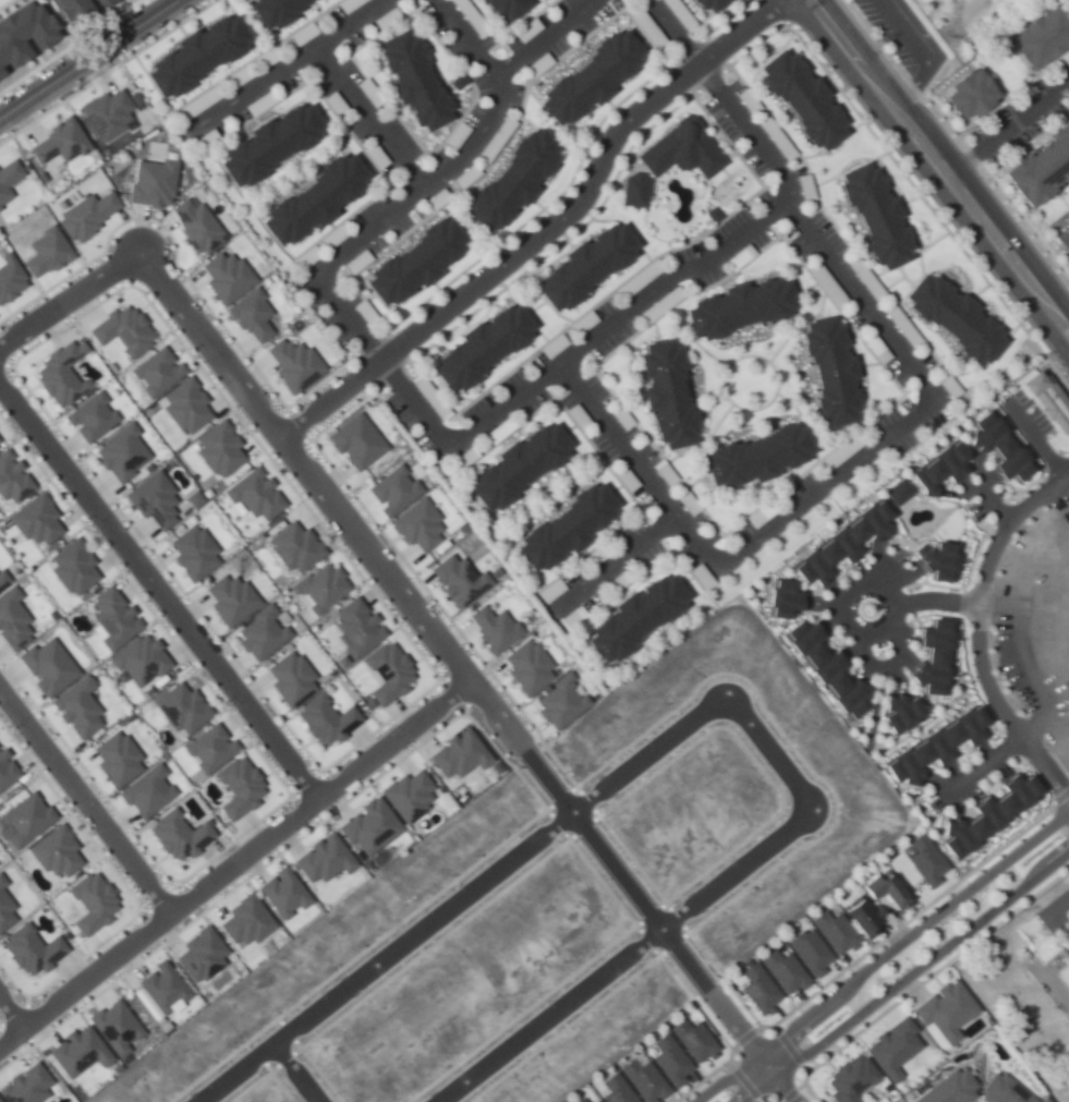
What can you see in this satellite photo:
building: (111, 1)
building: (704, 4)
building: (501, 8)
building: (268, 10)
building: (77, 11)
road: (777, 12)
road: (406, 13)
road: (778, 27)
road: (708, 29)
building: (26, 32)
building: (1036, 36)
road: (503, 37)
building: (907, 37)
road: (463, 38)
road: (543, 38)
road: (68, 45)
road: (684, 51)
building: (193, 52)
road: (656, 53)
road: (81, 55)
road: (709, 56)
road: (254, 57)
road: (326, 65)
road: (281, 68)
road: (106, 71)
road: (684, 74)
building: (585, 76)
road: (148, 80)
building: (409, 80)
road: (708, 80)
building: (964, 92)
road: (1012, 93)
road: (721, 97)
building: (797, 98)
building: (106, 114)
road: (366, 119)
road: (1006, 126)
road: (343, 128)
road: (958, 138)
building: (57, 143)
building: (266, 143)
building: (678, 150)
building: (1036, 162)
road: (937, 166)
road: (405, 168)
road: (848, 169)
road: (780, 173)
building: (8, 178)
building: (508, 180)
building: (151, 182)
building: (632, 190)
building: (311, 198)
road: (247, 204)
building: (86, 214)
building: (875, 215)
road: (474, 222)
building: (194, 226)
road: (543, 231)
building: (44, 252)
road: (910, 257)
building: (411, 261)
building: (581, 264)
building: (1068, 265)
building: (224, 276)
building: (9, 277)
road: (337, 286)
road: (192, 287)
road: (542, 298)
road: (68, 300)
building: (739, 306)
road: (534, 307)
road: (521, 312)
building: (250, 315)
road: (676, 315)
building: (953, 317)
road: (653, 329)
building: (120, 330)
road: (781, 341)
road: (430, 342)
road: (387, 346)
building: (477, 346)
road: (576, 348)
road: (701, 349)
road: (988, 359)
road: (1, 362)
road: (5, 364)
building: (291, 364)
road: (866, 364)
building: (829, 371)
building: (155, 372)
building: (58, 375)
road: (920, 379)
road: (774, 391)
building: (667, 392)
road: (552, 398)
building: (1046, 401)
road: (909, 403)
building: (183, 405)
road: (790, 405)
road: (421, 415)
building: (88, 417)
road: (714, 425)
road: (291, 427)
road: (465, 434)
building: (353, 441)
building: (991, 445)
building: (217, 449)
road: (284, 451)
building: (120, 452)
building: (757, 456)
road: (600, 459)
building: (512, 465)
building: (934, 468)
road: (302, 470)
building: (11, 480)
road: (1011, 486)
road: (821, 488)
building: (392, 491)
building: (896, 491)
building: (253, 495)
road: (658, 496)
road: (1010, 497)
building: (151, 500)
building: (34, 520)
road: (736, 524)
building: (416, 525)
road: (497, 526)
building: (562, 528)
road: (655, 530)
road: (689, 533)
road: (386, 541)
building: (838, 543)
building: (293, 547)
building: (192, 553)
building: (936, 560)
road: (610, 564)
building: (71, 567)
road: (637, 573)
road: (922, 578)
building: (2, 579)
building: (457, 580)
road: (871, 586)
road: (962, 586)
building: (319, 588)
road: (158, 593)
building: (229, 600)
building: (781, 600)
road: (963, 603)
building: (633, 615)
building: (111, 618)
building: (11, 620)
building: (355, 627)
building: (493, 629)
building: (262, 632)
road: (975, 632)
road: (588, 645)
building: (930, 656)
building: (137, 661)
road: (459, 665)
building: (46, 667)
building: (525, 667)
building: (827, 668)
building: (387, 673)
building: (288, 679)
road: (455, 691)
road: (420, 693)
building: (558, 703)
building: (75, 709)
building: (180, 709)
building: (899, 710)
road: (701, 711)
road: (873, 713)
building: (324, 719)
building: (208, 748)
building: (928, 748)
building: (457, 754)
building: (114, 760)
road: (986, 761)
road: (1057, 764)
building: (5, 772)
road: (272, 773)
road: (306, 787)
building: (236, 788)
building: (145, 791)
building: (405, 795)
road: (1058, 797)
road: (84, 803)
road: (306, 809)
building: (983, 814)
building: (23, 821)
building: (367, 827)
road: (586, 834)
building: (177, 836)
building: (53, 852)
road: (988, 856)
building: (321, 860)
building: (924, 860)
road: (233, 863)
road: (257, 868)
building: (2, 882)
road: (123, 886)
building: (280, 893)
road: (159, 900)
building: (90, 903)
building: (871, 905)
road: (181, 906)
building: (4, 911)
building: (243, 921)
building: (831, 932)
building: (29, 950)
building: (809, 953)
building: (198, 956)
road: (880, 958)
building: (781, 971)
road: (906, 978)
road: (922, 981)
building: (159, 989)
building: (756, 989)
building: (944, 1010)
road: (16, 1012)
road: (10, 1014)
building: (113, 1027)
road: (19, 1029)
road: (742, 1037)
building: (691, 1041)
road: (749, 1044)
road: (787, 1047)
building: (891, 1049)
building: (77, 1053)
road: (727, 1056)
building: (667, 1061)
road: (294, 1073)
building: (848, 1079)
building: (641, 1080)
road: (741, 1080)
building: (24, 1086)
building: (949, 1088)
building: (614, 1090)
building: (1001, 1090)
road: (790, 1092)
building: (579, 1100)
building: (595, 1101)

